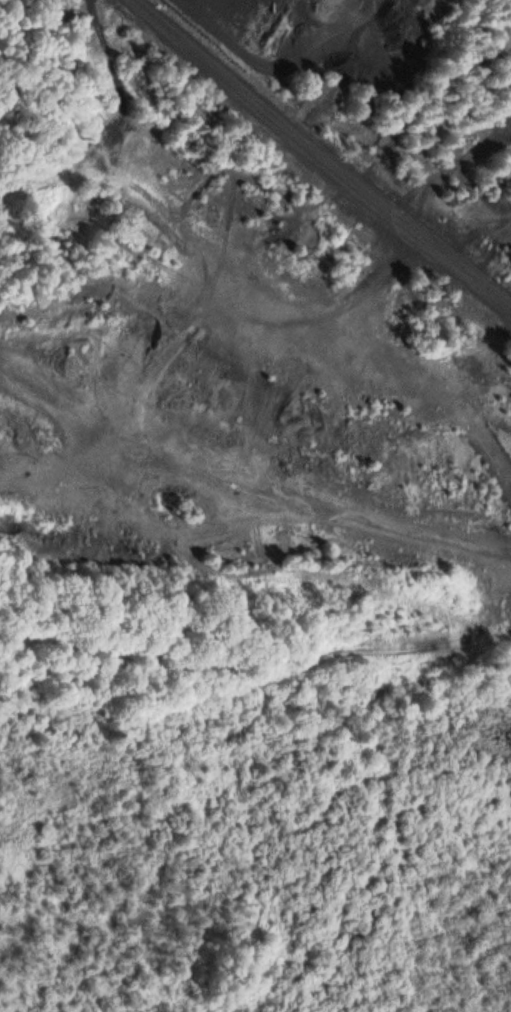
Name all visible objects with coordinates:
road: (107, 126)
road: (325, 155)

